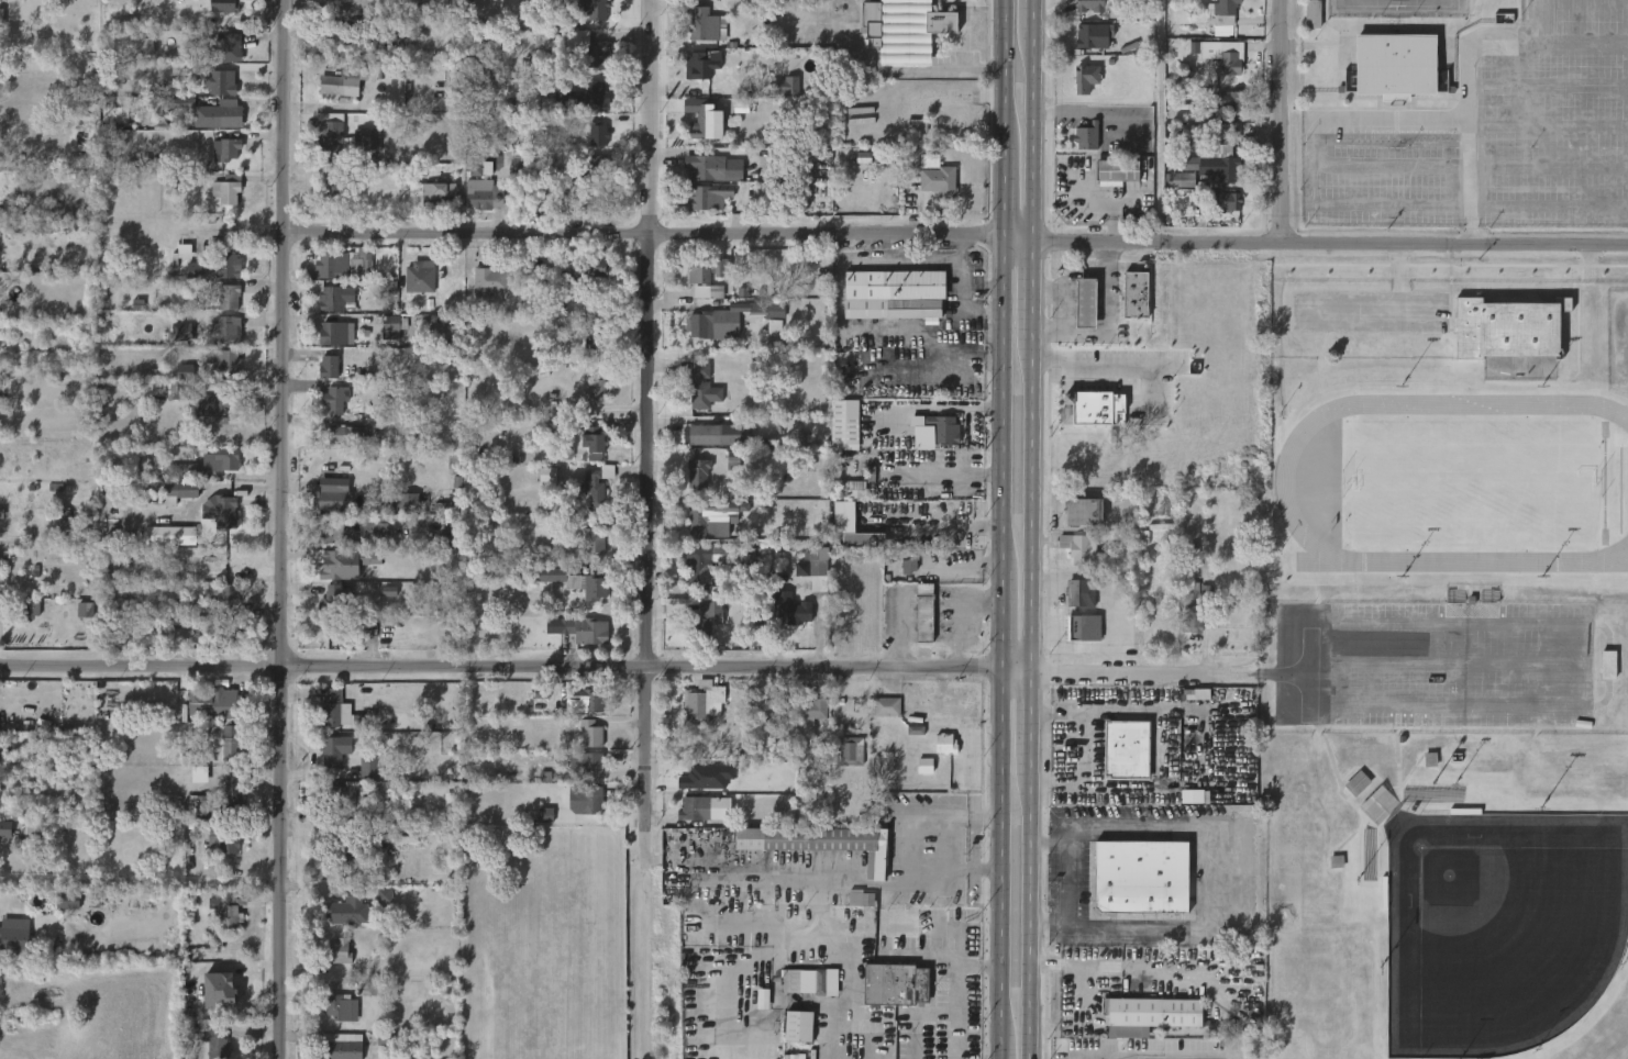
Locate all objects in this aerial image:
building: (353, 0)
park: (1400, 3)
building: (228, 5)
building: (458, 5)
building: (535, 5)
building: (1093, 5)
building: (596, 9)
building: (1221, 11)
building: (1310, 13)
road: (1033, 16)
building: (0, 20)
building: (706, 23)
building: (902, 29)
building: (340, 34)
building: (1090, 34)
building: (586, 46)
building: (143, 47)
building: (233, 47)
building: (477, 53)
building: (1219, 58)
building: (706, 64)
building: (1396, 65)
road: (1005, 69)
road: (900, 70)
building: (397, 71)
building: (1084, 77)
building: (454, 80)
building: (223, 82)
building: (334, 83)
building: (1350, 85)
building: (784, 87)
building: (173, 88)
building: (587, 99)
building: (1223, 100)
building: (179, 103)
building: (549, 107)
road: (368, 109)
park: (1464, 112)
building: (226, 113)
building: (706, 120)
road: (1287, 124)
building: (917, 126)
road: (1039, 130)
road: (1087, 131)
building: (598, 134)
building: (328, 136)
road: (1032, 137)
building: (1087, 137)
building: (366, 138)
building: (224, 149)
building: (1081, 151)
building: (864, 157)
building: (522, 159)
building: (702, 166)
building: (600, 167)
building: (1220, 167)
building: (479, 169)
building: (1117, 172)
building: (934, 176)
building: (1183, 180)
building: (1111, 186)
building: (336, 187)
road: (1005, 190)
building: (225, 191)
building: (62, 193)
building: (441, 193)
building: (486, 193)
building: (586, 197)
building: (708, 197)
building: (1223, 200)
building: (5, 210)
building: (27, 227)
road: (608, 233)
road: (1018, 242)
road: (1329, 248)
building: (185, 252)
building: (214, 261)
road: (886, 261)
building: (343, 265)
building: (590, 268)
building: (706, 275)
road: (960, 276)
building: (419, 279)
building: (489, 282)
building: (391, 291)
road: (1032, 291)
building: (893, 294)
building: (1136, 296)
building: (228, 298)
building: (337, 298)
building: (1085, 304)
road: (976, 312)
building: (723, 325)
building: (394, 326)
building: (774, 327)
building: (1508, 330)
building: (181, 332)
building: (224, 332)
building: (595, 332)
building: (337, 333)
building: (221, 360)
road: (1117, 361)
building: (331, 367)
building: (185, 371)
building: (0, 384)
building: (702, 388)
building: (594, 390)
building: (181, 391)
building: (336, 400)
building: (211, 403)
road: (1003, 403)
building: (1093, 409)
building: (844, 425)
building: (943, 427)
building: (347, 432)
building: (704, 433)
building: (922, 435)
road: (647, 436)
building: (592, 442)
building: (564, 452)
building: (224, 460)
building: (182, 471)
road: (944, 472)
building: (700, 473)
building: (547, 475)
building: (596, 483)
building: (855, 489)
building: (179, 492)
building: (333, 494)
park: (1472, 500)
building: (410, 502)
road: (1031, 506)
building: (1084, 510)
building: (222, 512)
building: (1, 514)
building: (710, 514)
building: (844, 517)
road: (937, 525)
road: (278, 528)
building: (353, 533)
building: (170, 535)
building: (451, 539)
building: (594, 540)
building: (864, 540)
building: (1079, 548)
building: (110, 561)
building: (818, 561)
building: (335, 564)
building: (909, 566)
building: (698, 567)
building: (572, 581)
building: (1082, 593)
building: (223, 599)
building: (30, 607)
building: (793, 607)
building: (85, 610)
building: (924, 611)
road: (956, 614)
building: (336, 615)
building: (1193, 618)
road: (1001, 620)
building: (705, 623)
building: (1077, 627)
building: (230, 629)
building: (588, 631)
road: (900, 632)
road: (1300, 647)
park: (1451, 659)
road: (1438, 664)
parking lot: (1433, 665)
building: (1606, 665)
road: (500, 667)
road: (1140, 673)
road: (1016, 675)
building: (542, 691)
building: (211, 702)
building: (586, 702)
building: (700, 703)
building: (886, 706)
road: (1574, 706)
building: (330, 707)
building: (810, 710)
road: (1030, 723)
building: (916, 731)
building: (589, 733)
building: (230, 744)
building: (944, 744)
road: (1206, 747)
building: (1127, 750)
building: (849, 751)
building: (818, 753)
building: (787, 754)
road: (310, 757)
building: (331, 761)
building: (595, 765)
building: (924, 766)
building: (1356, 783)
building: (343, 794)
building: (229, 795)
building: (1195, 796)
building: (451, 798)
building: (588, 801)
building: (198, 806)
building: (693, 809)
building: (545, 815)
building: (30, 828)
building: (5, 829)
building: (224, 837)
building: (399, 839)
building: (834, 843)
road: (908, 851)
road: (1000, 856)
building: (352, 860)
road: (808, 869)
road: (1207, 873)
building: (1142, 878)
road: (1065, 883)
building: (385, 896)
building: (857, 898)
building: (67, 901)
building: (228, 911)
building: (347, 912)
road: (1030, 915)
park: (1497, 933)
building: (13, 935)
building: (341, 952)
building: (810, 980)
building: (894, 984)
building: (220, 990)
building: (370, 991)
road: (954, 991)
building: (763, 999)
building: (343, 1006)
building: (1150, 1015)
building: (798, 1026)
building: (212, 1036)
building: (346, 1046)
road: (1000, 1049)
road: (1162, 1050)
road: (975, 1052)
building: (794, 1057)

